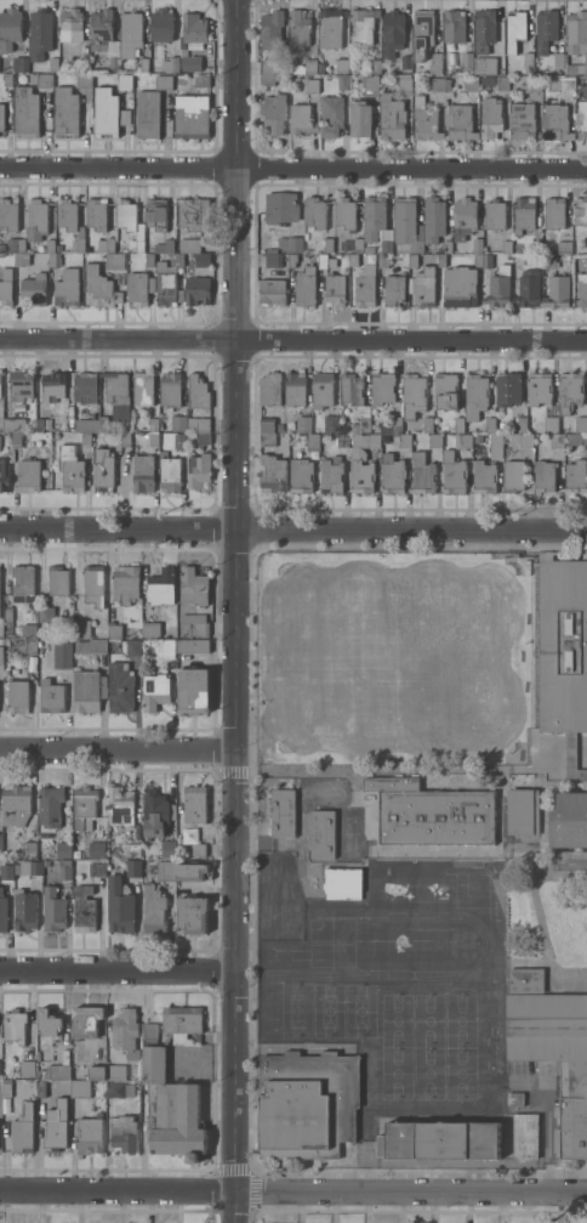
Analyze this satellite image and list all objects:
building: (70, 24)
building: (160, 24)
building: (363, 24)
building: (454, 26)
building: (331, 27)
building: (8, 28)
building: (193, 28)
building: (270, 29)
building: (298, 29)
building: (483, 29)
building: (515, 29)
building: (545, 29)
building: (392, 32)
building: (39, 33)
building: (130, 33)
building: (422, 33)
building: (104, 36)
building: (576, 40)
building: (528, 60)
building: (559, 60)
building: (405, 61)
building: (467, 61)
building: (21, 63)
building: (52, 63)
building: (170, 63)
building: (190, 63)
building: (434, 63)
building: (80, 64)
building: (141, 64)
building: (341, 64)
building: (374, 64)
building: (484, 64)
building: (267, 66)
building: (303, 66)
building: (7, 79)
building: (44, 79)
building: (200, 79)
building: (267, 79)
building: (124, 80)
building: (84, 81)
building: (163, 81)
building: (342, 81)
building: (370, 81)
building: (404, 83)
building: (472, 83)
building: (502, 83)
building: (535, 83)
building: (568, 83)
building: (312, 84)
building: (438, 84)
building: (25, 112)
building: (65, 112)
building: (108, 112)
building: (273, 112)
building: (147, 114)
building: (192, 115)
building: (331, 115)
building: (1, 117)
building: (392, 117)
building: (490, 117)
building: (581, 118)
building: (301, 119)
building: (361, 119)
building: (424, 120)
building: (522, 120)
building: (460, 121)
building: (555, 121)
road: (292, 170)
building: (280, 206)
building: (580, 210)
building: (554, 211)
building: (8, 213)
building: (96, 213)
building: (155, 213)
building: (193, 213)
building: (315, 213)
building: (344, 213)
building: (524, 213)
building: (67, 214)
building: (494, 214)
building: (433, 217)
building: (463, 217)
building: (36, 219)
building: (376, 222)
building: (130, 223)
building: (406, 226)
building: (78, 240)
building: (295, 243)
building: (15, 244)
building: (50, 244)
building: (106, 244)
building: (188, 244)
building: (327, 244)
building: (358, 244)
building: (1, 245)
building: (164, 245)
building: (446, 245)
building: (477, 245)
building: (506, 245)
building: (40, 247)
building: (536, 247)
building: (564, 247)
building: (369, 249)
building: (270, 250)
building: (21, 259)
building: (55, 259)
building: (148, 259)
building: (203, 259)
building: (291, 259)
building: (353, 259)
building: (441, 259)
building: (114, 260)
building: (273, 260)
building: (412, 260)
building: (478, 260)
building: (486, 260)
building: (528, 260)
building: (549, 260)
building: (326, 261)
building: (383, 261)
building: (167, 281)
building: (365, 284)
building: (424, 285)
building: (458, 285)
building: (5, 287)
building: (99, 287)
building: (138, 287)
building: (304, 287)
building: (67, 288)
building: (528, 288)
building: (34, 289)
building: (196, 289)
building: (334, 289)
building: (393, 289)
building: (272, 290)
building: (497, 290)
building: (581, 290)
building: (557, 291)
road: (293, 340)
building: (0, 378)
building: (21, 384)
building: (52, 384)
building: (381, 386)
building: (85, 387)
building: (295, 387)
building: (538, 387)
building: (170, 389)
building: (269, 389)
building: (321, 389)
building: (507, 389)
building: (445, 390)
building: (569, 390)
building: (198, 391)
building: (118, 393)
building: (412, 395)
building: (474, 395)
building: (146, 396)
building: (354, 397)
building: (103, 423)
building: (178, 423)
building: (303, 423)
building: (330, 423)
building: (580, 423)
building: (15, 424)
building: (39, 424)
building: (198, 424)
building: (267, 424)
building: (427, 424)
building: (458, 424)
building: (490, 424)
building: (502, 424)
building: (520, 424)
building: (549, 424)
building: (391, 425)
building: (278, 426)
building: (181, 437)
building: (267, 437)
building: (477, 437)
building: (16, 438)
building: (85, 438)
building: (125, 438)
building: (153, 438)
building: (203, 438)
building: (342, 438)
building: (522, 438)
building: (576, 438)
building: (404, 440)
building: (434, 440)
building: (462, 440)
building: (555, 440)
building: (312, 441)
building: (496, 445)
building: (355, 463)
building: (102, 469)
building: (198, 470)
building: (452, 471)
building: (143, 472)
building: (4, 474)
building: (73, 474)
building: (170, 474)
building: (272, 474)
building: (331, 474)
building: (392, 474)
building: (422, 474)
building: (28, 475)
building: (301, 475)
building: (513, 475)
building: (484, 476)
building: (543, 476)
building: (575, 476)
road: (293, 530)
building: (57, 579)
building: (23, 581)
building: (125, 583)
building: (93, 584)
building: (161, 585)
building: (193, 585)
road: (234, 611)
building: (7, 613)
building: (46, 613)
building: (193, 623)
building: (8, 628)
building: (81, 628)
building: (28, 629)
building: (150, 629)
building: (118, 630)
building: (113, 645)
building: (193, 645)
building: (563, 645)
building: (27, 646)
building: (90, 646)
building: (132, 646)
building: (167, 647)
building: (1, 655)
building: (62, 655)
building: (120, 686)
building: (87, 689)
building: (193, 690)
building: (154, 691)
building: (18, 695)
building: (51, 696)
road: (116, 748)
building: (572, 759)
road: (296, 769)
building: (16, 804)
building: (194, 804)
building: (49, 805)
building: (120, 805)
building: (84, 806)
building: (523, 811)
building: (155, 812)
building: (283, 812)
building: (431, 812)
building: (569, 820)
building: (321, 833)
building: (0, 845)
building: (28, 848)
building: (167, 848)
building: (63, 849)
building: (96, 849)
building: (131, 850)
building: (198, 851)
building: (46, 862)
building: (29, 867)
building: (97, 868)
building: (132, 868)
building: (149, 868)
building: (64, 870)
building: (165, 870)
building: (6, 871)
building: (192, 871)
building: (342, 882)
building: (119, 905)
building: (84, 908)
building: (153, 908)
building: (24, 910)
building: (53, 910)
building: (2, 911)
building: (192, 913)
road: (116, 973)
building: (86, 1020)
building: (49, 1021)
building: (182, 1023)
building: (15, 1025)
building: (149, 1030)
building: (125, 1031)
building: (166, 1038)
building: (552, 1048)
building: (38, 1054)
building: (27, 1068)
building: (118, 1070)
building: (55, 1071)
building: (97, 1071)
building: (59, 1086)
building: (79, 1088)
building: (6, 1089)
building: (41, 1089)
building: (120, 1089)
building: (514, 1098)
building: (307, 1104)
building: (171, 1109)
building: (56, 1125)
building: (22, 1128)
building: (124, 1132)
building: (89, 1136)
building: (525, 1136)
building: (439, 1139)
road: (293, 1190)

